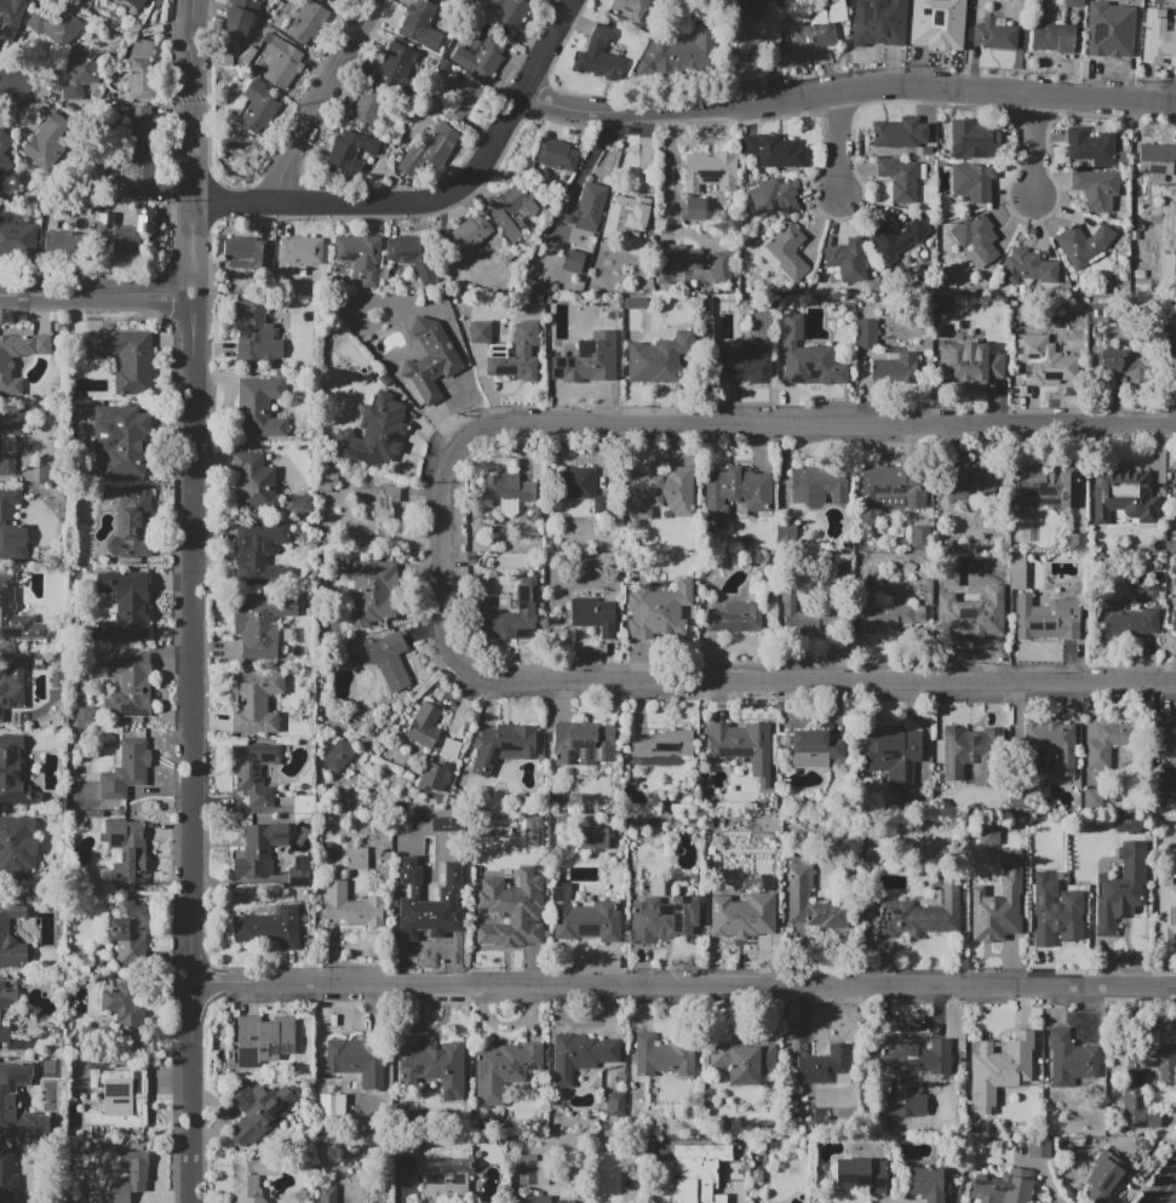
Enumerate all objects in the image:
building: (333, 0)
building: (136, 2)
building: (453, 2)
building: (1075, 4)
building: (1153, 5)
building: (632, 8)
building: (507, 15)
road: (367, 16)
building: (10, 17)
building: (241, 17)
building: (308, 21)
building: (55, 23)
building: (880, 24)
building: (419, 25)
building: (820, 28)
building: (937, 28)
building: (747, 31)
building: (996, 35)
building: (1051, 36)
building: (1112, 40)
building: (1161, 44)
building: (681, 53)
building: (597, 56)
building: (481, 57)
building: (281, 61)
building: (395, 63)
building: (142, 69)
building: (78, 75)
road: (8, 80)
road: (847, 91)
building: (463, 97)
building: (257, 107)
building: (368, 108)
road: (311, 118)
building: (140, 126)
building: (900, 133)
building: (973, 138)
building: (47, 143)
road: (194, 145)
road: (837, 145)
road: (1033, 145)
building: (1094, 148)
building: (344, 150)
building: (430, 150)
building: (774, 150)
building: (555, 154)
building: (5, 156)
building: (1154, 164)
building: (710, 171)
building: (132, 176)
building: (901, 178)
building: (973, 181)
road: (672, 187)
building: (1096, 188)
building: (774, 196)
road: (438, 200)
building: (585, 207)
building: (693, 210)
building: (512, 211)
building: (521, 214)
building: (625, 216)
building: (125, 233)
building: (469, 234)
building: (895, 239)
building: (976, 239)
building: (63, 241)
building: (17, 244)
building: (1082, 244)
building: (300, 250)
building: (788, 251)
building: (246, 252)
building: (412, 256)
building: (358, 258)
building: (684, 258)
building: (847, 259)
building: (573, 262)
building: (1168, 262)
building: (719, 267)
building: (662, 268)
building: (1027, 270)
road: (96, 293)
building: (1097, 313)
building: (256, 332)
building: (480, 332)
building: (516, 354)
building: (887, 356)
building: (125, 357)
building: (431, 359)
building: (659, 359)
building: (809, 359)
building: (589, 360)
building: (1045, 362)
building: (1174, 362)
building: (744, 363)
building: (969, 363)
building: (1124, 366)
building: (5, 367)
building: (259, 407)
road: (818, 425)
building: (374, 432)
building: (10, 436)
building: (124, 440)
building: (818, 483)
building: (969, 483)
building: (260, 486)
building: (1046, 486)
building: (507, 487)
building: (585, 488)
building: (890, 488)
building: (660, 493)
building: (735, 494)
building: (1124, 495)
building: (378, 500)
building: (132, 527)
building: (10, 528)
building: (785, 533)
building: (1075, 542)
building: (259, 552)
building: (996, 563)
building: (1017, 571)
building: (372, 590)
building: (133, 607)
building: (658, 611)
building: (507, 613)
building: (16, 614)
building: (593, 614)
building: (797, 614)
building: (888, 614)
building: (735, 618)
building: (1046, 618)
building: (969, 619)
building: (1174, 619)
building: (1128, 623)
building: (260, 624)
building: (388, 659)
road: (695, 681)
building: (12, 686)
building: (130, 687)
building: (256, 700)
building: (82, 717)
building: (425, 726)
building: (739, 740)
building: (1108, 743)
building: (504, 745)
building: (583, 745)
building: (1168, 745)
building: (1050, 746)
road: (190, 747)
building: (664, 749)
building: (809, 749)
building: (893, 752)
building: (965, 754)
building: (337, 756)
building: (431, 767)
building: (125, 769)
building: (254, 772)
building: (13, 774)
building: (1165, 791)
building: (1094, 800)
building: (304, 803)
building: (1128, 823)
building: (532, 830)
building: (988, 833)
building: (591, 837)
building: (17, 844)
building: (259, 849)
building: (125, 850)
building: (357, 858)
building: (457, 870)
building: (299, 871)
building: (1120, 888)
building: (798, 895)
building: (997, 901)
building: (351, 905)
building: (511, 909)
building: (1165, 909)
building: (1021, 910)
building: (1055, 912)
building: (922, 913)
building: (438, 915)
building: (742, 916)
building: (586, 917)
building: (665, 920)
building: (270, 926)
building: (127, 932)
building: (11, 936)
road: (684, 986)
road: (1174, 996)
building: (127, 1016)
building: (7, 1018)
building: (274, 1039)
building: (581, 1055)
building: (664, 1056)
building: (1071, 1058)
building: (357, 1059)
building: (744, 1060)
building: (431, 1062)
building: (825, 1065)
building: (999, 1067)
building: (504, 1070)
building: (911, 1073)
building: (1134, 1087)
building: (130, 1088)
building: (8, 1099)
building: (614, 1104)
building: (262, 1110)
building: (735, 1145)
building: (1039, 1148)
building: (446, 1169)
building: (532, 1170)
building: (861, 1174)
building: (130, 1175)
road: (1154, 1175)
building: (7, 1176)
building: (1105, 1178)
building: (246, 1181)
building: (929, 1184)
building: (713, 1185)
road: (1048, 1185)
road: (402, 1187)
building: (1002, 1187)
road: (1168, 1192)
building: (327, 1195)
road: (738, 1195)
building: (537, 1198)
road: (878, 1202)

